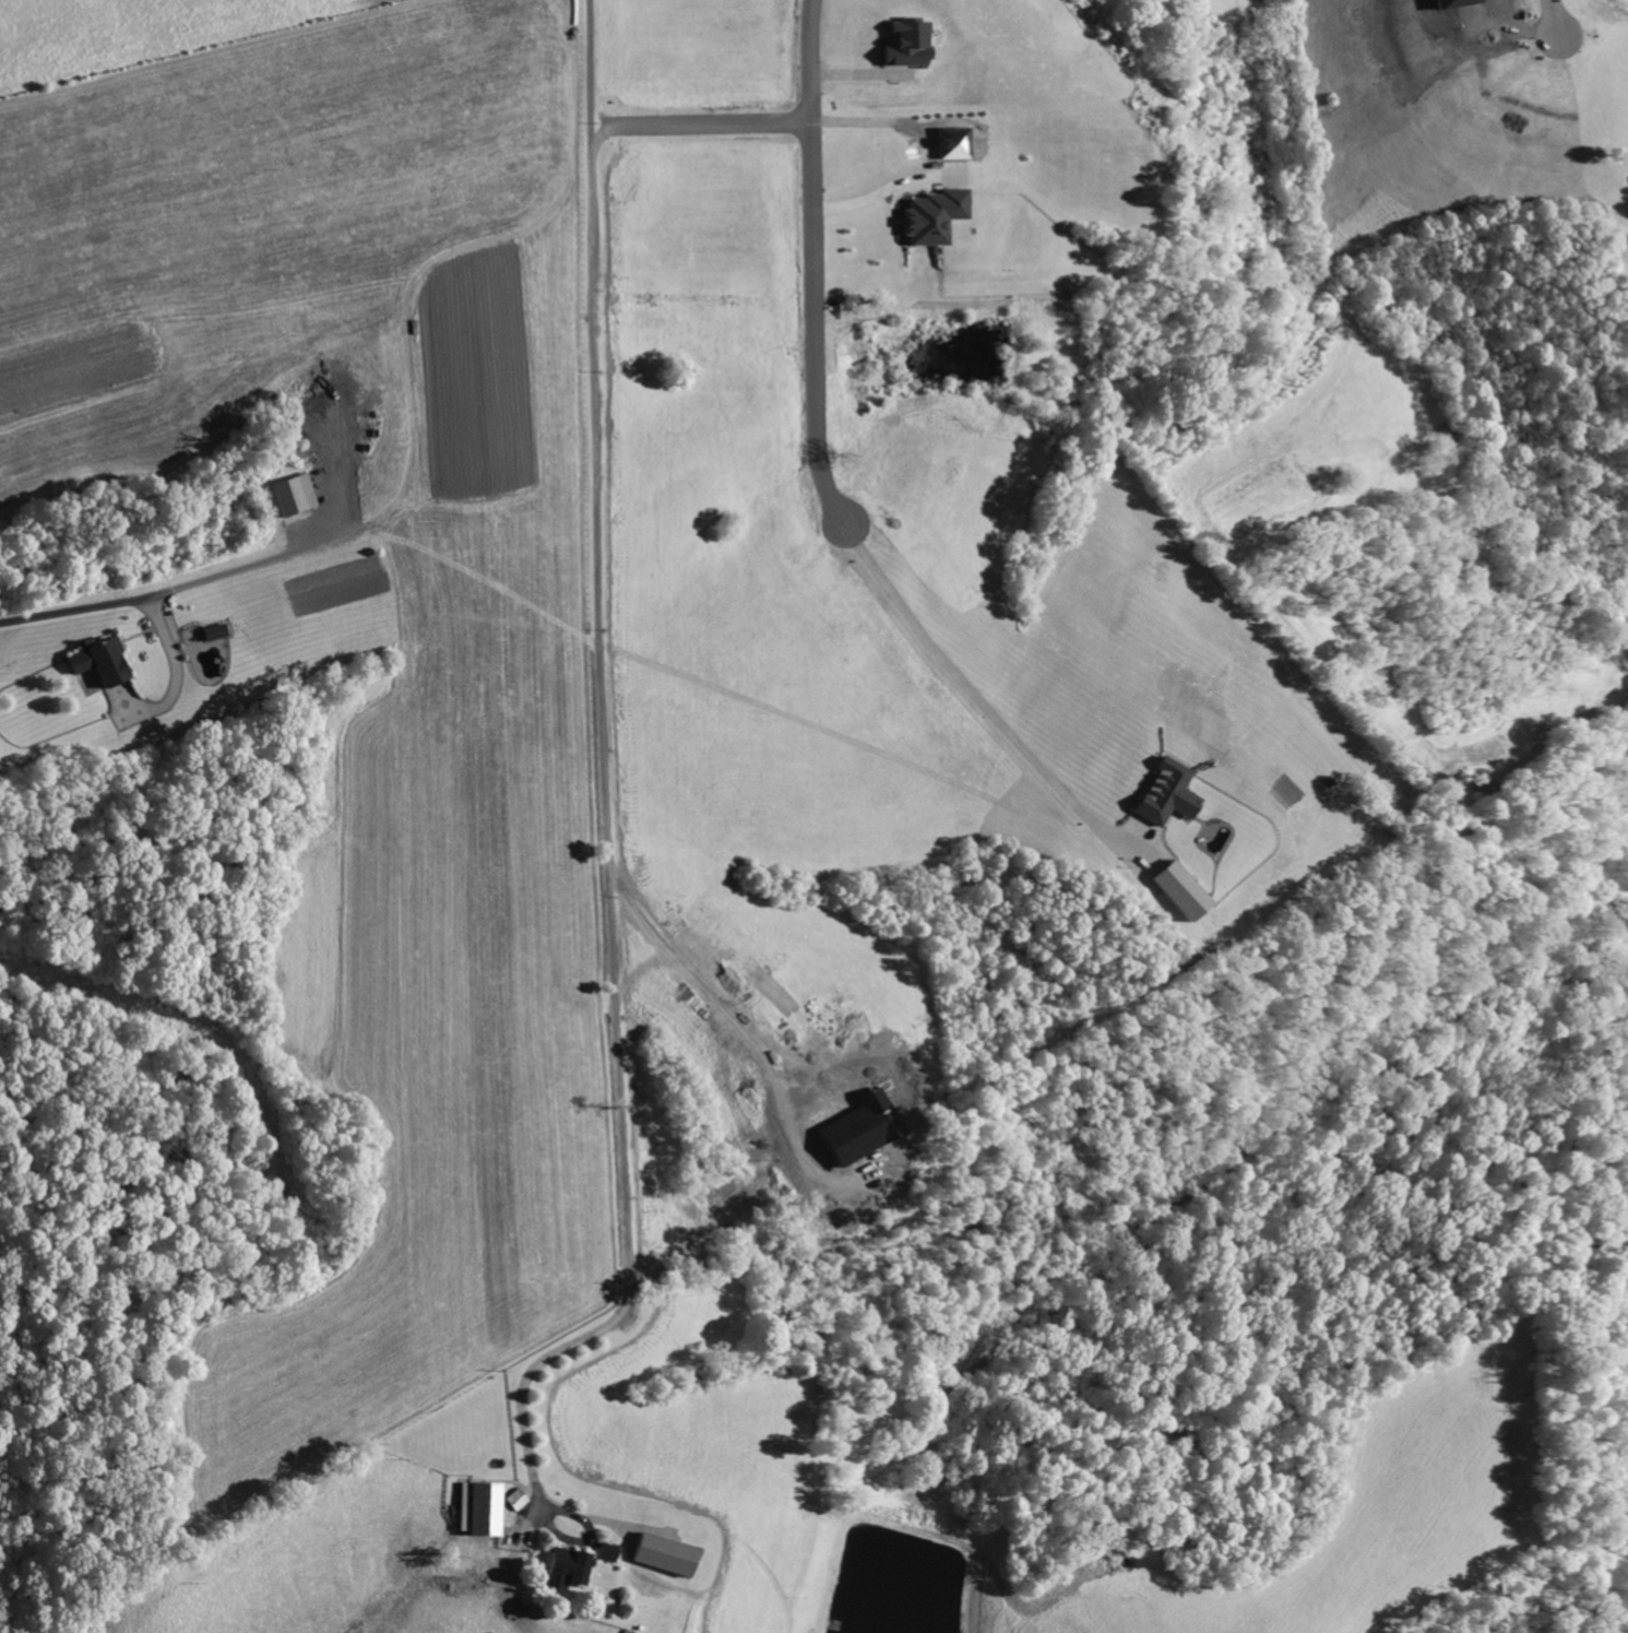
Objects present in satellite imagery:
road: (1553, 19)
building: (907, 44)
road: (756, 113)
road: (883, 191)
building: (935, 217)
road: (806, 317)
building: (296, 496)
road: (154, 595)
building: (216, 634)
building: (99, 664)
road: (178, 665)
road: (962, 673)
building: (1169, 793)
road: (607, 798)
building: (1180, 890)
building: (518, 1500)
building: (484, 1507)
building: (610, 1553)
building: (665, 1554)
building: (567, 1570)

